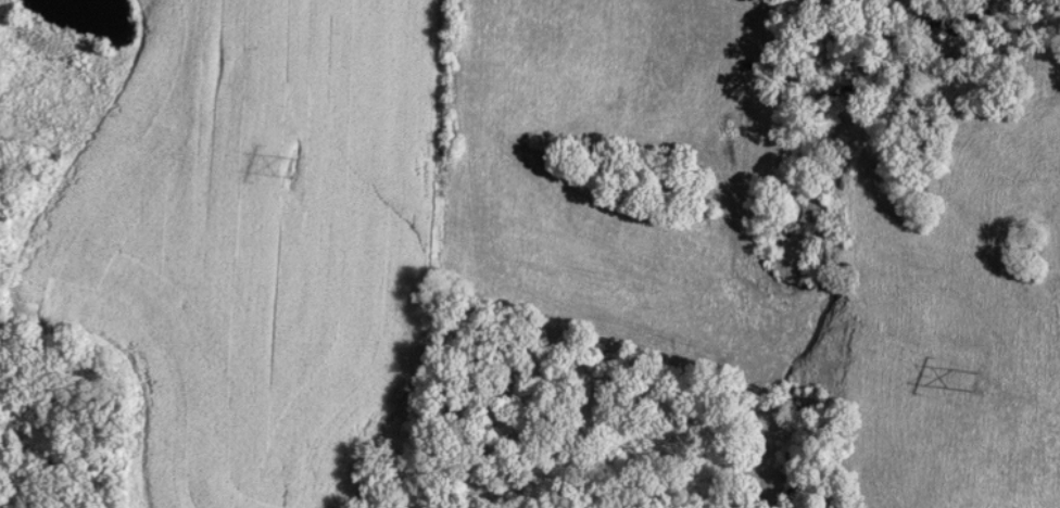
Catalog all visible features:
power tower: (294, 167)
power tower: (975, 381)

